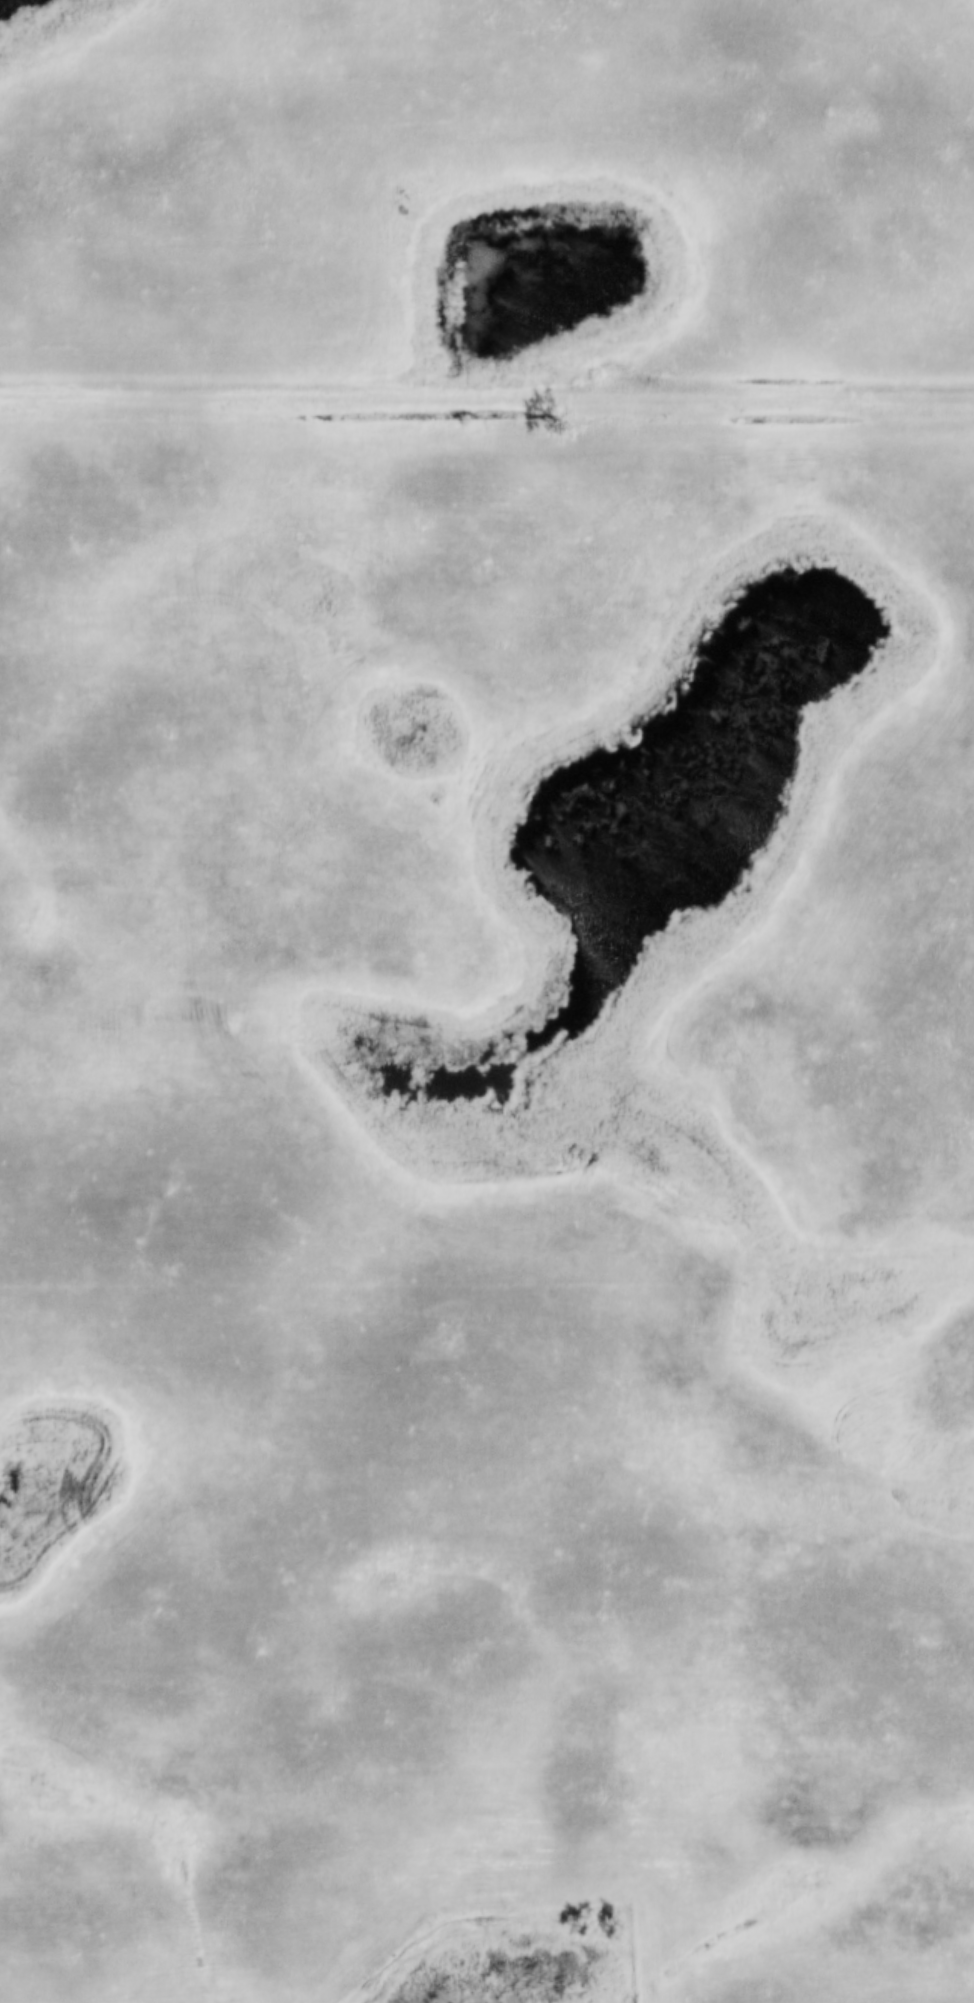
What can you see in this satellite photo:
road: (487, 399)

